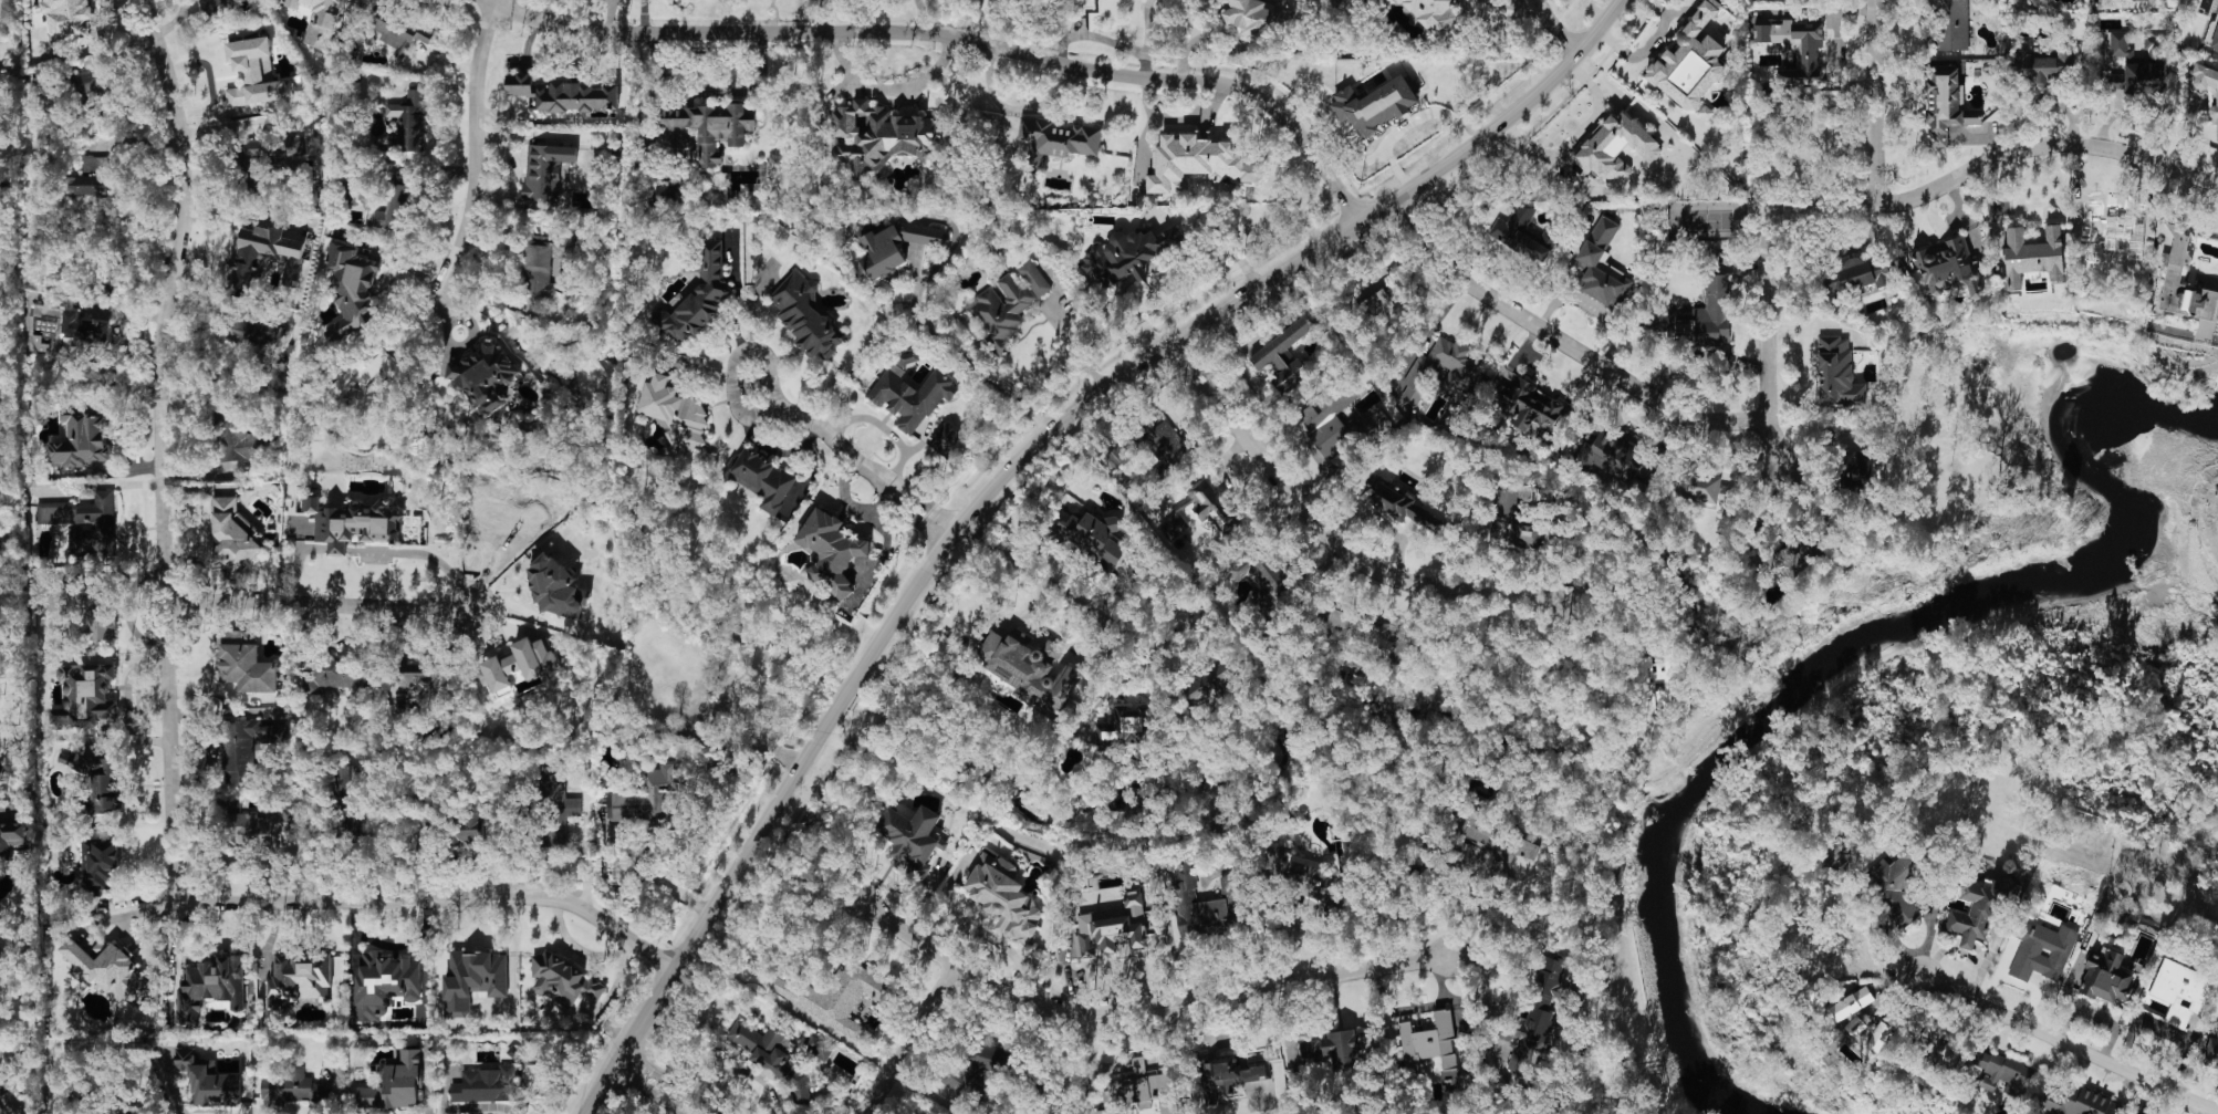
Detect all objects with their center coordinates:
building: (1220, 1)
building: (210, 4)
building: (4, 10)
building: (1431, 13)
road: (920, 14)
road: (818, 15)
building: (1247, 15)
building: (320, 20)
building: (71, 21)
building: (1951, 24)
road: (1555, 27)
building: (398, 29)
road: (955, 37)
road: (1145, 37)
road: (1183, 40)
building: (1794, 45)
building: (1689, 60)
building: (2040, 64)
building: (253, 72)
building: (2138, 77)
building: (3, 85)
road: (889, 86)
building: (2208, 89)
road: (711, 91)
building: (88, 92)
building: (565, 93)
road: (1872, 102)
building: (1375, 103)
building: (1946, 104)
building: (1705, 112)
road: (1175, 117)
building: (408, 121)
road: (1405, 125)
building: (711, 127)
building: (878, 135)
building: (1055, 137)
road: (2042, 144)
building: (1615, 146)
road: (473, 148)
building: (291, 149)
building: (1197, 162)
building: (94, 164)
building: (545, 170)
building: (85, 185)
building: (394, 208)
building: (1521, 233)
building: (896, 244)
road: (1215, 250)
building: (1128, 253)
building: (2032, 254)
building: (265, 256)
building: (1601, 266)
building: (1948, 267)
building: (2173, 272)
building: (1857, 274)
road: (1767, 287)
building: (352, 288)
building: (697, 298)
building: (1006, 304)
building: (1376, 304)
road: (106, 309)
road: (1214, 312)
building: (1707, 315)
building: (806, 316)
road: (1059, 329)
building: (66, 332)
building: (257, 332)
building: (282, 339)
road: (1561, 343)
building: (1282, 354)
road: (736, 360)
road: (985, 366)
building: (373, 368)
building: (1837, 372)
building: (485, 375)
building: (1457, 376)
building: (912, 397)
building: (1527, 405)
building: (675, 414)
building: (236, 435)
building: (945, 437)
building: (81, 438)
building: (1149, 443)
road: (158, 446)
building: (1610, 455)
building: (1857, 466)
road: (866, 468)
building: (762, 478)
building: (1704, 488)
building: (1398, 502)
building: (1516, 521)
building: (85, 522)
building: (354, 522)
building: (1173, 525)
building: (233, 532)
building: (1092, 535)
road: (1333, 544)
road: (339, 549)
building: (831, 550)
road: (419, 553)
building: (1797, 553)
road: (299, 563)
building: (1263, 573)
road: (1050, 575)
building: (558, 587)
road: (312, 604)
river: (1978, 613)
building: (96, 616)
building: (1372, 637)
building: (246, 663)
building: (520, 663)
building: (1029, 667)
building: (336, 674)
building: (1211, 680)
building: (417, 684)
building: (1659, 684)
road: (845, 690)
building: (84, 695)
building: (1123, 727)
building: (246, 746)
building: (344, 798)
building: (641, 798)
building: (555, 805)
building: (260, 822)
building: (466, 823)
building: (12, 837)
building: (910, 837)
building: (1500, 840)
building: (100, 865)
building: (1299, 872)
road: (656, 876)
building: (1894, 884)
building: (1185, 886)
building: (1004, 897)
road: (430, 899)
road: (708, 908)
building: (1976, 912)
road: (124, 915)
building: (1105, 933)
road: (996, 939)
road: (581, 948)
building: (2041, 949)
building: (107, 969)
building: (2105, 976)
building: (300, 979)
building: (473, 979)
building: (563, 979)
building: (385, 983)
building: (211, 987)
building: (2181, 990)
building: (832, 997)
road: (1134, 1004)
building: (1534, 1014)
building: (1858, 1016)
road: (910, 1040)
road: (2069, 1044)
building: (818, 1047)
building: (1941, 1047)
building: (1333, 1048)
building: (1433, 1049)
building: (2211, 1051)
building: (770, 1055)
road: (1092, 1056)
building: (973, 1065)
building: (2003, 1072)
building: (1229, 1075)
building: (208, 1079)
building: (396, 1084)
building: (486, 1084)
building: (290, 1085)
road: (660, 1085)
building: (3, 1086)
building: (1142, 1090)
road: (11, 1113)

